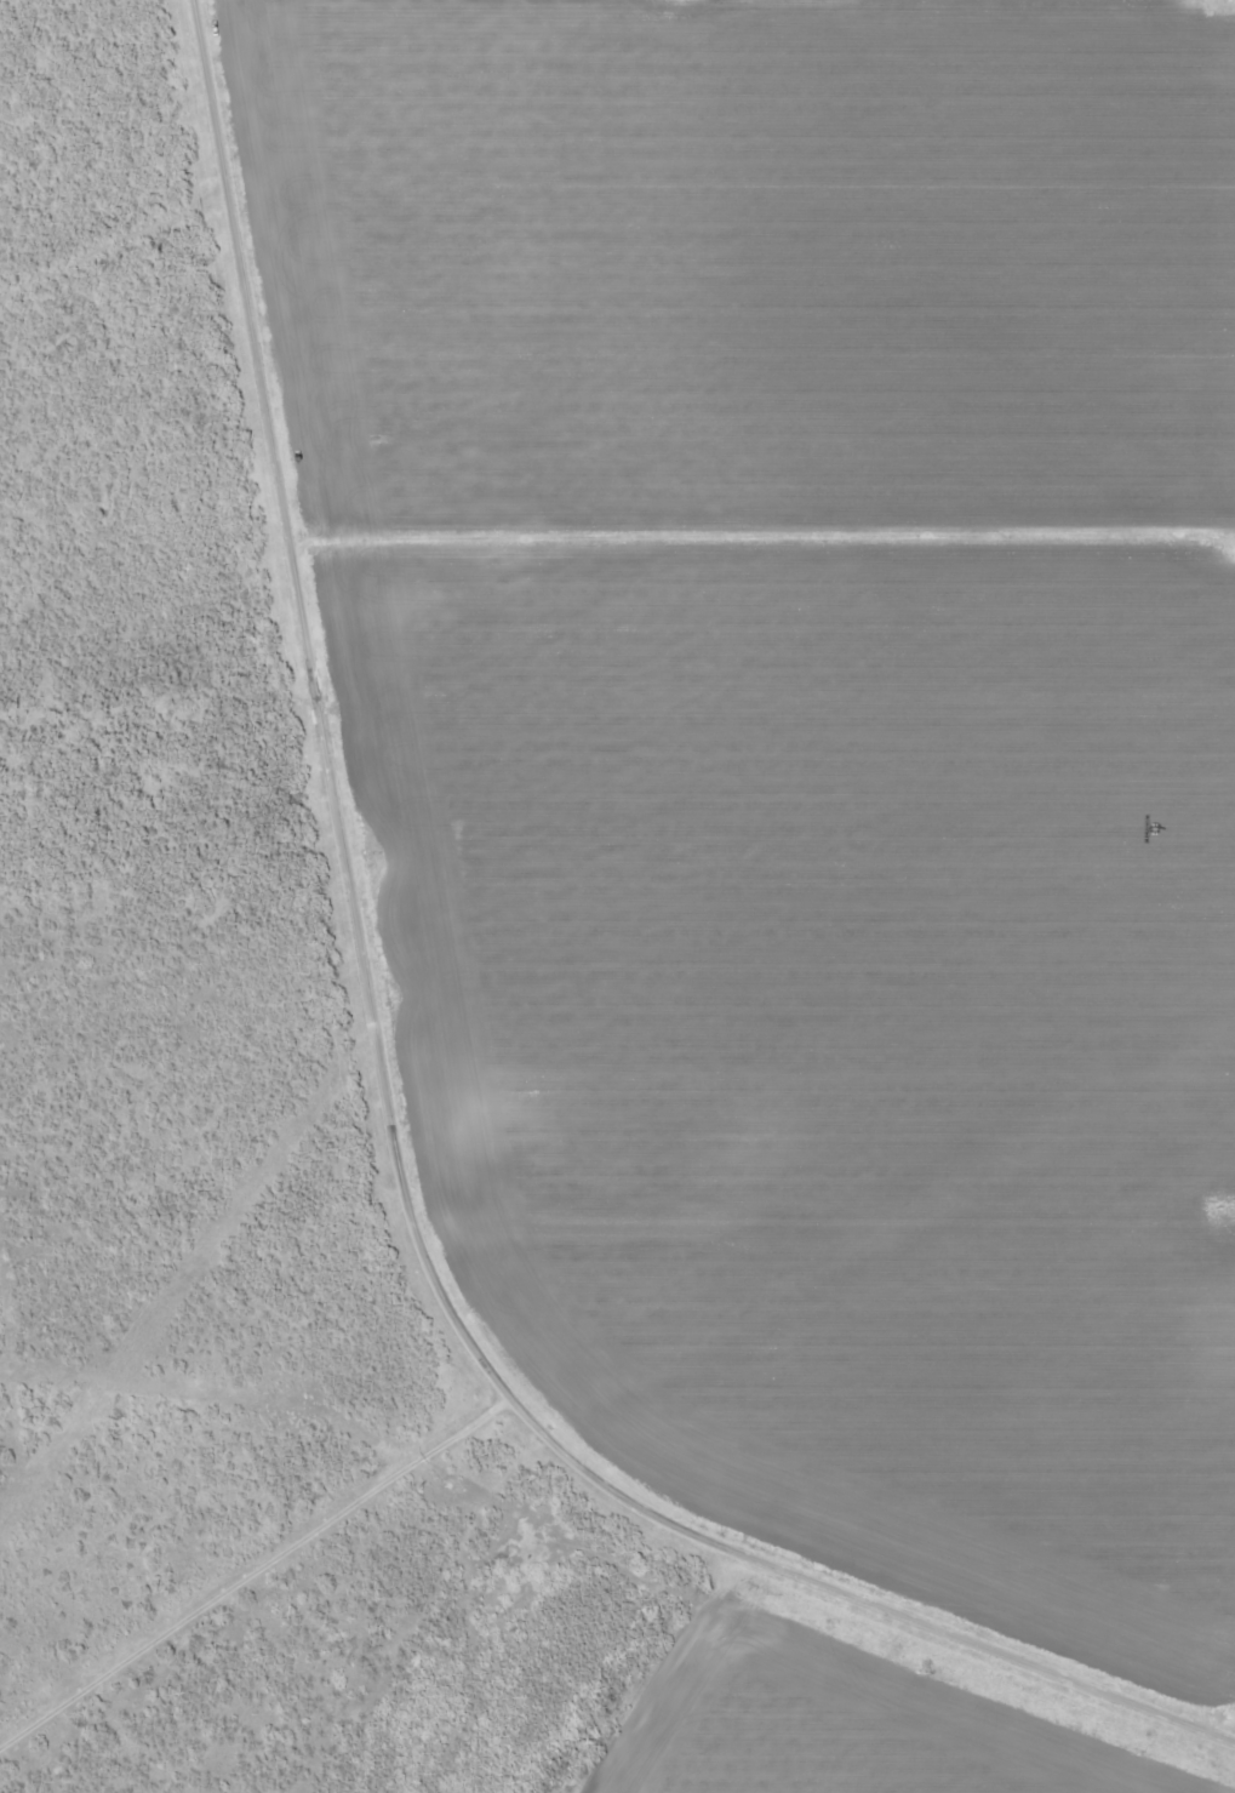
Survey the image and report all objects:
road: (105, 225)
road: (759, 537)
road: (390, 1110)

